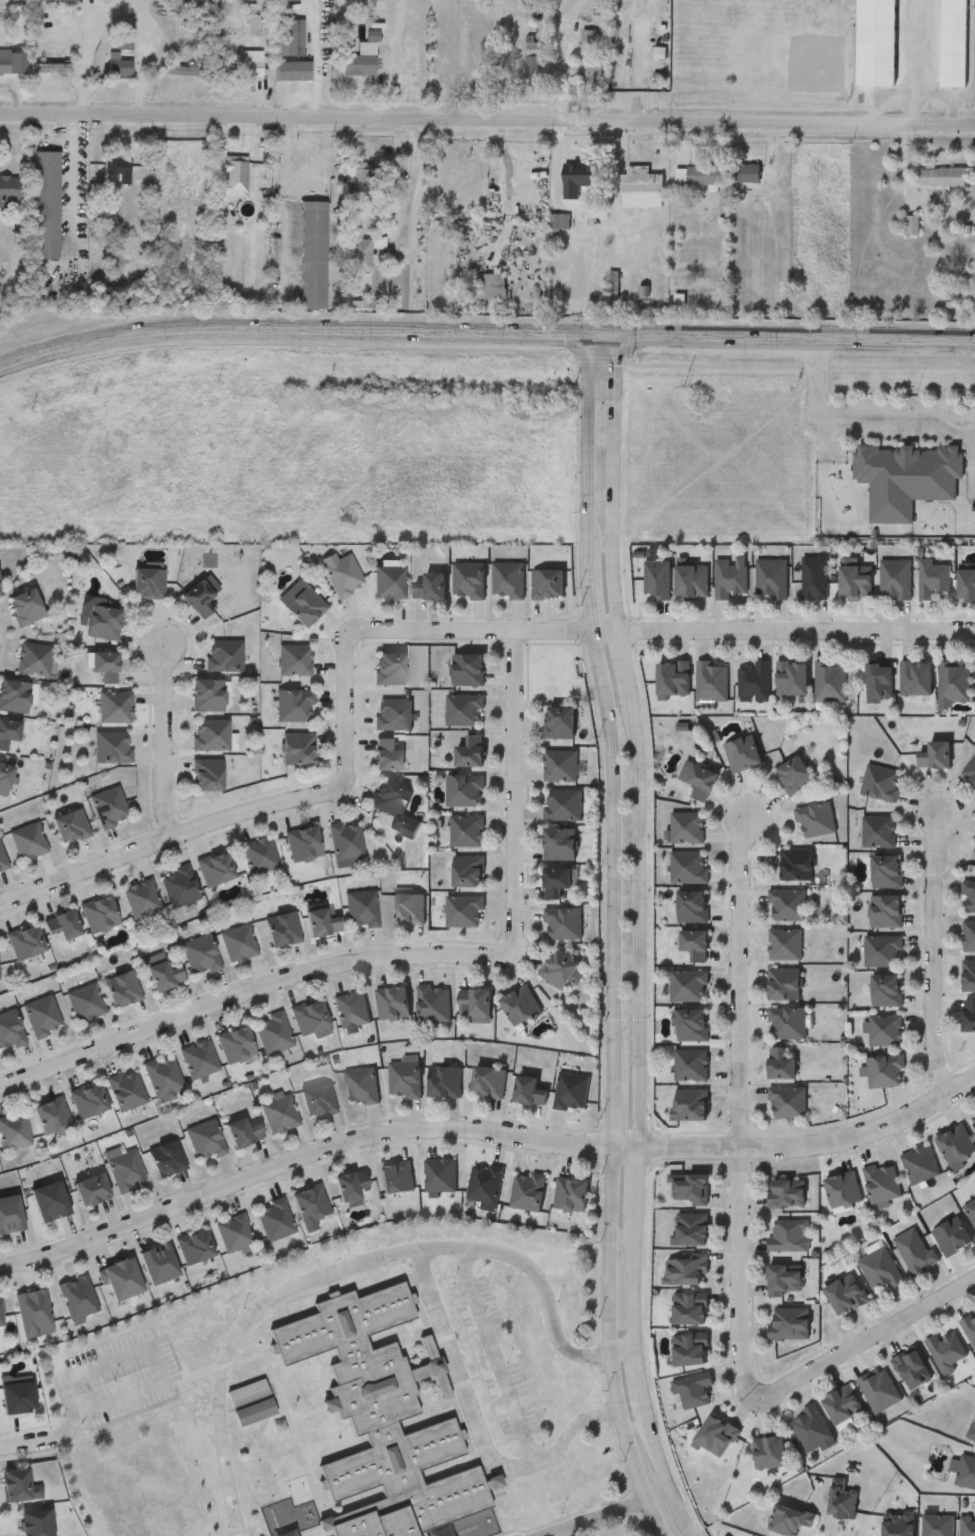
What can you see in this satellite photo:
building: (56, 1)
building: (288, 1)
building: (197, 5)
building: (601, 6)
building: (246, 24)
building: (290, 36)
building: (589, 37)
building: (875, 42)
building: (953, 43)
road: (151, 47)
road: (315, 50)
road: (99, 52)
building: (361, 59)
building: (533, 59)
road: (390, 60)
building: (12, 61)
building: (120, 62)
road: (916, 62)
building: (251, 66)
building: (52, 67)
building: (591, 68)
building: (181, 69)
building: (293, 69)
building: (182, 72)
road: (304, 98)
road: (888, 101)
road: (487, 122)
building: (116, 169)
building: (747, 171)
road: (73, 173)
building: (698, 173)
building: (235, 174)
building: (941, 175)
building: (358, 176)
road: (411, 185)
building: (640, 186)
building: (9, 187)
road: (283, 199)
building: (46, 203)
building: (557, 218)
building: (911, 223)
building: (20, 241)
building: (363, 250)
building: (313, 253)
building: (488, 284)
road: (485, 332)
traffic signals: (587, 335)
traffic signals: (617, 335)
road: (617, 367)
road: (861, 413)
building: (906, 476)
road: (588, 481)
road: (617, 514)
building: (343, 574)
building: (771, 575)
building: (814, 575)
building: (896, 575)
building: (933, 575)
building: (729, 576)
building: (468, 577)
building: (656, 577)
building: (691, 577)
building: (508, 578)
building: (854, 578)
building: (148, 580)
building: (389, 580)
building: (547, 581)
building: (966, 581)
building: (430, 584)
building: (0, 586)
building: (199, 595)
building: (28, 604)
building: (304, 604)
building: (105, 625)
road: (400, 629)
building: (225, 655)
building: (35, 658)
building: (295, 659)
building: (105, 664)
road: (628, 665)
building: (389, 667)
building: (467, 668)
building: (672, 677)
building: (791, 678)
building: (916, 678)
building: (755, 680)
building: (831, 680)
building: (712, 681)
building: (878, 681)
building: (954, 682)
building: (16, 694)
building: (207, 694)
building: (294, 704)
building: (114, 705)
building: (464, 708)
building: (393, 713)
building: (559, 721)
building: (9, 731)
building: (211, 733)
road: (164, 739)
building: (112, 745)
building: (297, 746)
building: (469, 750)
building: (742, 751)
building: (385, 754)
building: (934, 754)
building: (560, 763)
building: (970, 769)
building: (206, 774)
building: (795, 774)
building: (5, 777)
building: (698, 778)
building: (881, 781)
building: (464, 789)
building: (563, 802)
building: (109, 806)
building: (394, 806)
building: (816, 818)
building: (71, 825)
building: (688, 826)
building: (466, 829)
building: (879, 830)
building: (27, 840)
building: (346, 841)
building: (559, 841)
building: (304, 842)
building: (260, 854)
building: (3, 859)
building: (797, 863)
building: (689, 866)
building: (216, 867)
building: (467, 868)
building: (886, 870)
building: (555, 879)
building: (180, 885)
building: (969, 895)
building: (141, 896)
building: (788, 904)
building: (692, 905)
building: (409, 906)
building: (362, 907)
building: (464, 908)
building: (885, 910)
building: (100, 912)
building: (322, 920)
building: (563, 921)
building: (64, 923)
road: (643, 926)
building: (283, 927)
building: (969, 934)
building: (26, 940)
building: (238, 941)
building: (694, 943)
building: (786, 943)
building: (883, 949)
road: (936, 953)
building: (200, 954)
road: (411, 955)
building: (558, 967)
building: (163, 971)
building: (968, 974)
building: (0, 981)
building: (784, 982)
building: (689, 984)
building: (123, 987)
building: (886, 989)
building: (393, 1000)
building: (86, 1001)
building: (434, 1001)
building: (477, 1002)
building: (521, 1002)
building: (351, 1007)
building: (968, 1013)
building: (42, 1015)
building: (311, 1017)
building: (788, 1021)
building: (692, 1024)
building: (885, 1028)
building: (10, 1029)
building: (273, 1032)
building: (235, 1044)
building: (198, 1058)
building: (692, 1063)
building: (780, 1063)
building: (884, 1069)
building: (163, 1075)
building: (405, 1077)
building: (489, 1078)
building: (445, 1079)
building: (360, 1083)
road: (617, 1086)
building: (531, 1087)
building: (126, 1088)
building: (572, 1088)
building: (88, 1098)
building: (318, 1099)
building: (788, 1101)
building: (692, 1103)
road: (742, 1105)
building: (279, 1112)
building: (52, 1114)
building: (973, 1117)
building: (13, 1129)
building: (244, 1131)
building: (205, 1138)
road: (815, 1142)
building: (956, 1143)
road: (630, 1149)
building: (167, 1156)
road: (301, 1158)
building: (920, 1163)
building: (125, 1167)
building: (441, 1172)
building: (397, 1175)
building: (485, 1181)
building: (882, 1181)
building: (690, 1186)
building: (92, 1187)
building: (354, 1187)
building: (842, 1187)
building: (528, 1189)
road: (641, 1189)
building: (787, 1191)
building: (572, 1192)
building: (51, 1199)
building: (311, 1204)
building: (971, 1209)
building: (10, 1212)
building: (274, 1218)
building: (691, 1227)
building: (233, 1231)
building: (790, 1233)
building: (952, 1234)
building: (194, 1244)
building: (915, 1249)
building: (159, 1262)
road: (353, 1265)
building: (880, 1267)
building: (686, 1268)
building: (122, 1278)
building: (784, 1278)
road: (637, 1289)
building: (846, 1292)
building: (77, 1296)
building: (690, 1307)
building: (32, 1310)
building: (1, 1315)
building: (790, 1322)
building: (970, 1326)
road: (867, 1336)
building: (691, 1347)
building: (946, 1349)
road: (149, 1350)
road: (493, 1357)
building: (912, 1367)
road: (641, 1380)
building: (879, 1388)
building: (694, 1389)
building: (248, 1395)
building: (19, 1396)
building: (842, 1403)
building: (256, 1413)
building: (382, 1418)
road: (474, 1428)
building: (812, 1429)
road: (65, 1430)
building: (971, 1430)
building: (716, 1435)
road: (26, 1442)
building: (769, 1451)
building: (966, 1471)
road: (665, 1475)
building: (16, 1486)
building: (840, 1498)
road: (598, 1518)
building: (789, 1519)
building: (35, 1522)
building: (897, 1524)
building: (937, 1524)
building: (967, 1526)

